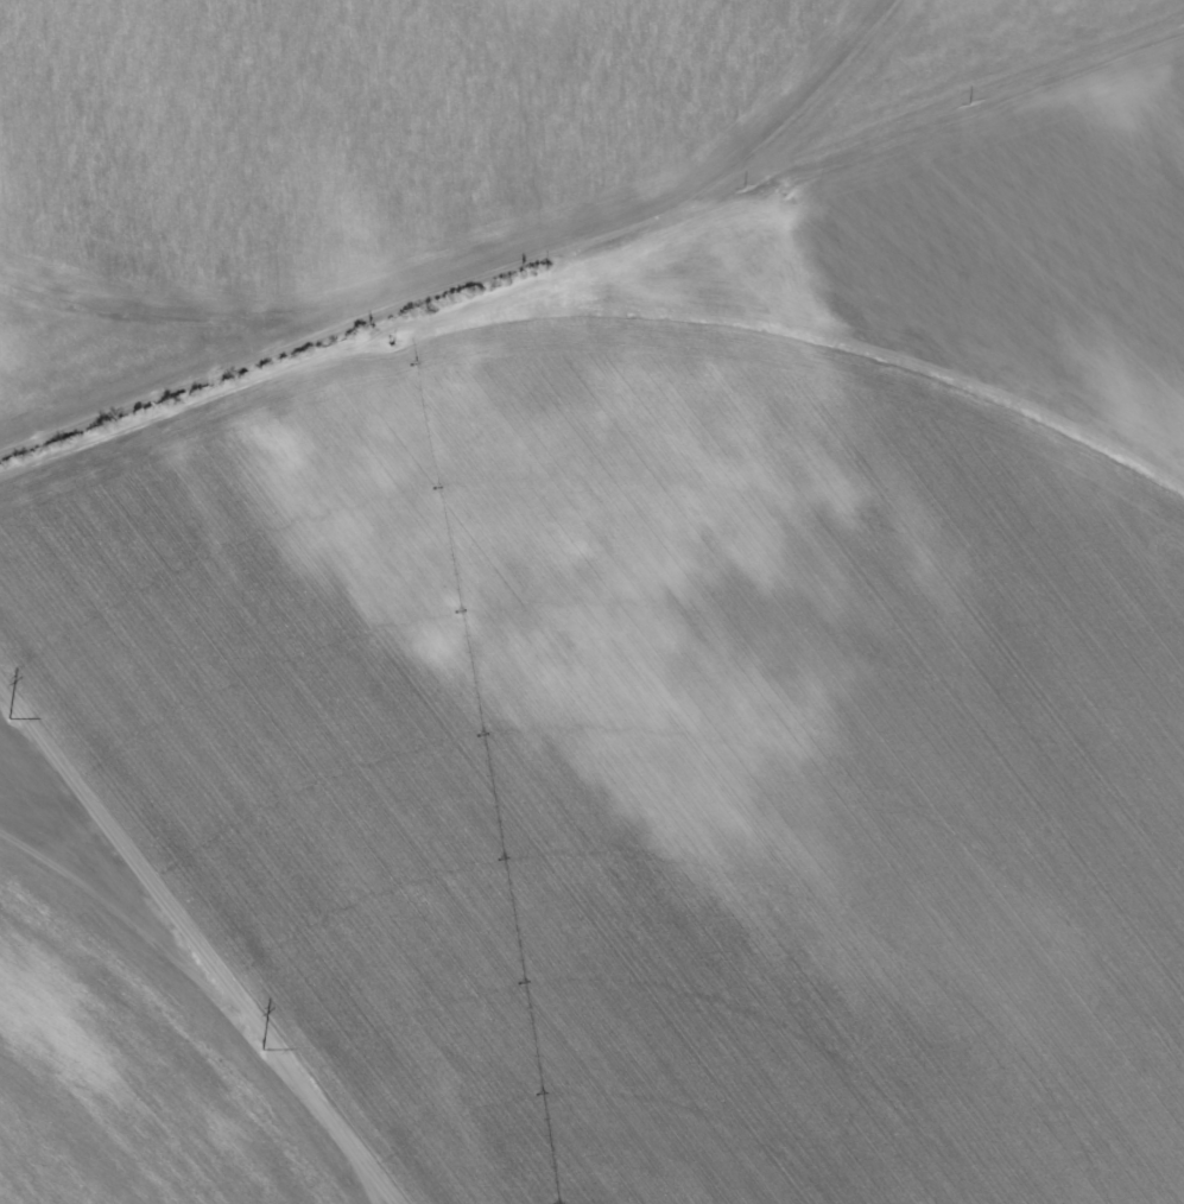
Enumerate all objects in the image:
power tower: (2, 709)
power tower: (257, 1040)

